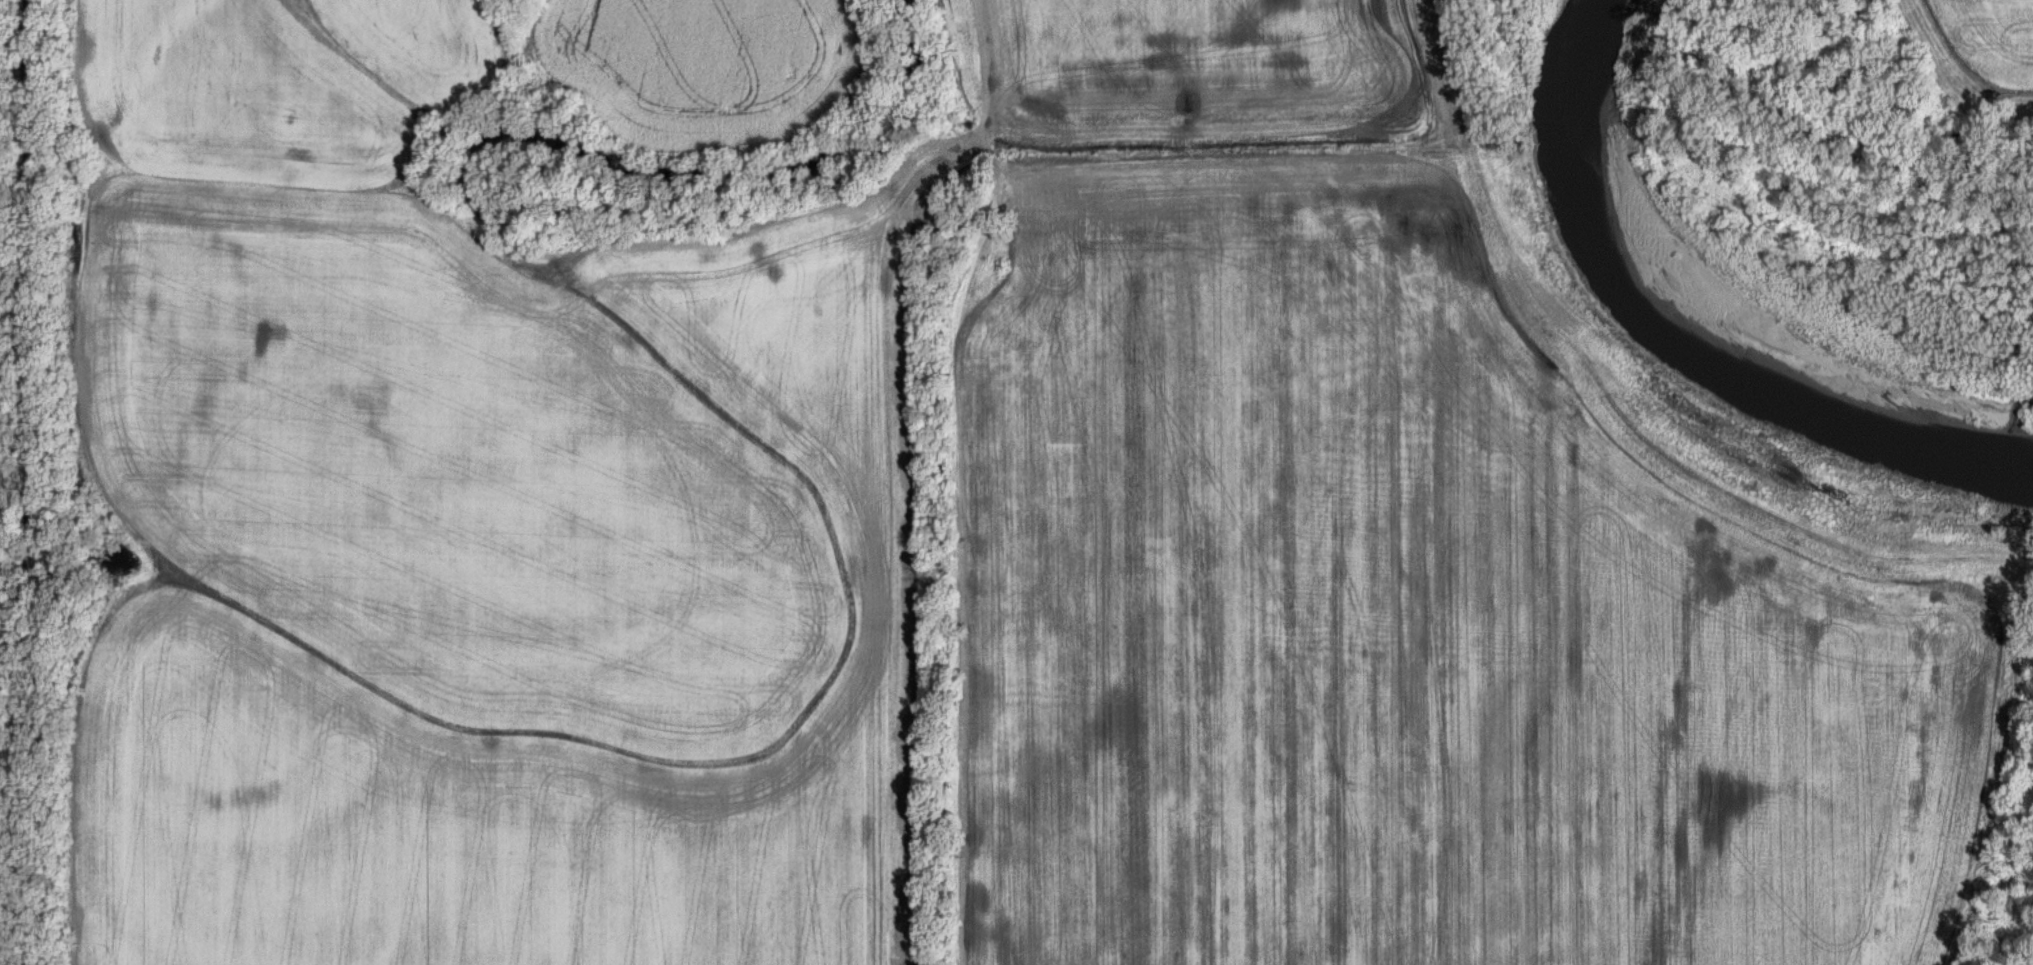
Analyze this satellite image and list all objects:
river: (1712, 290)

